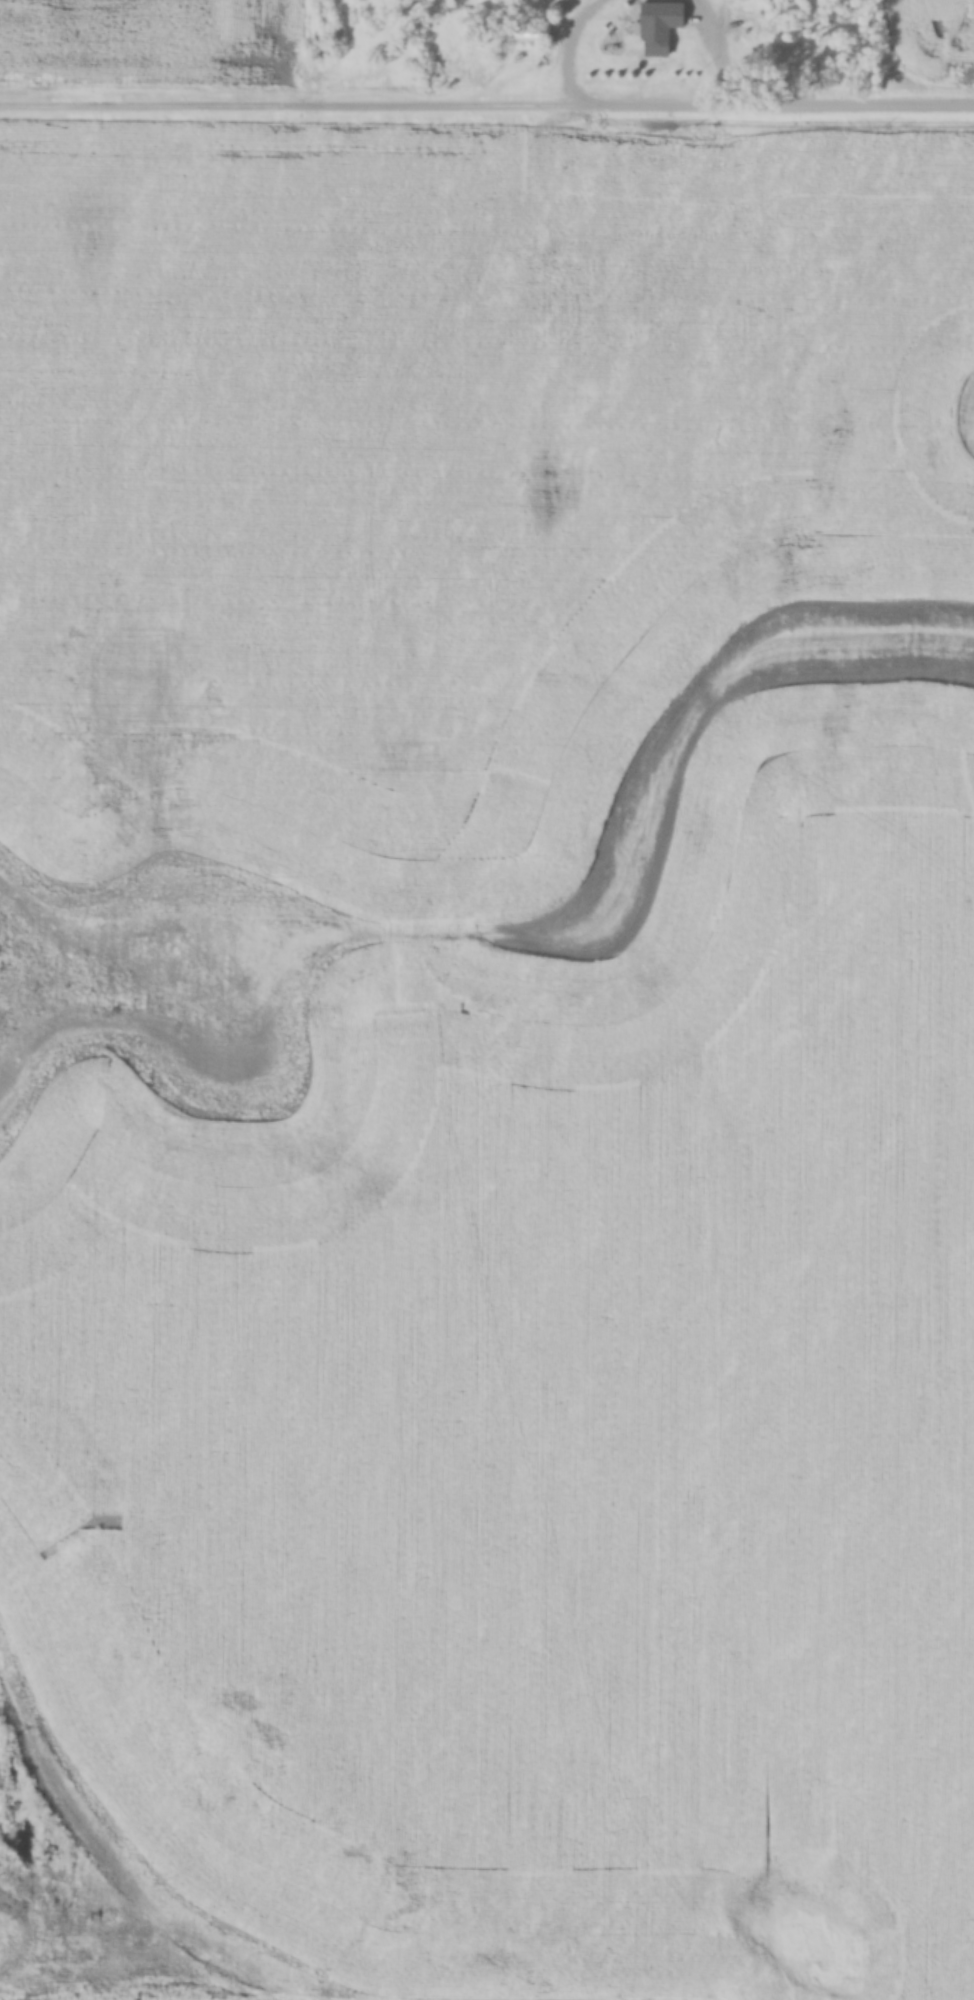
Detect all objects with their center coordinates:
building: (660, 26)
building: (744, 33)
building: (527, 36)
road: (487, 102)

